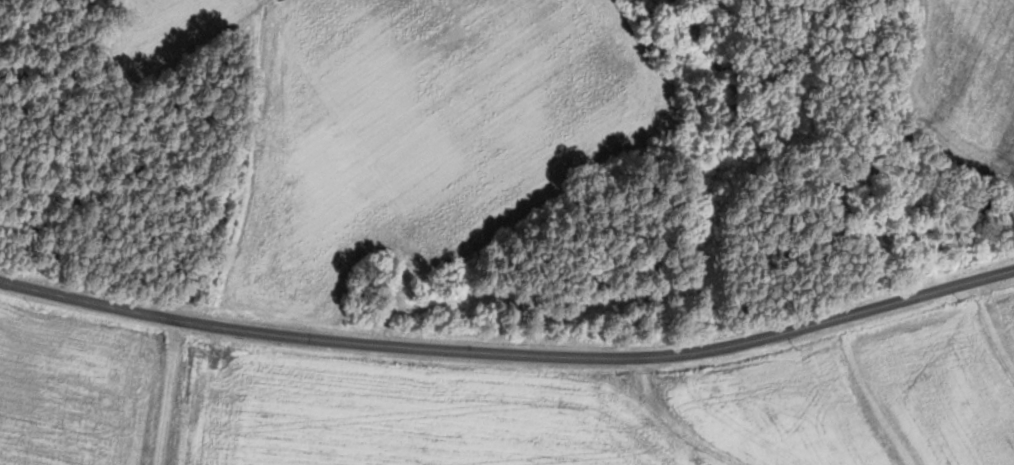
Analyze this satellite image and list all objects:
road: (337, 116)
road: (262, 334)
road: (773, 341)
road: (201, 395)

